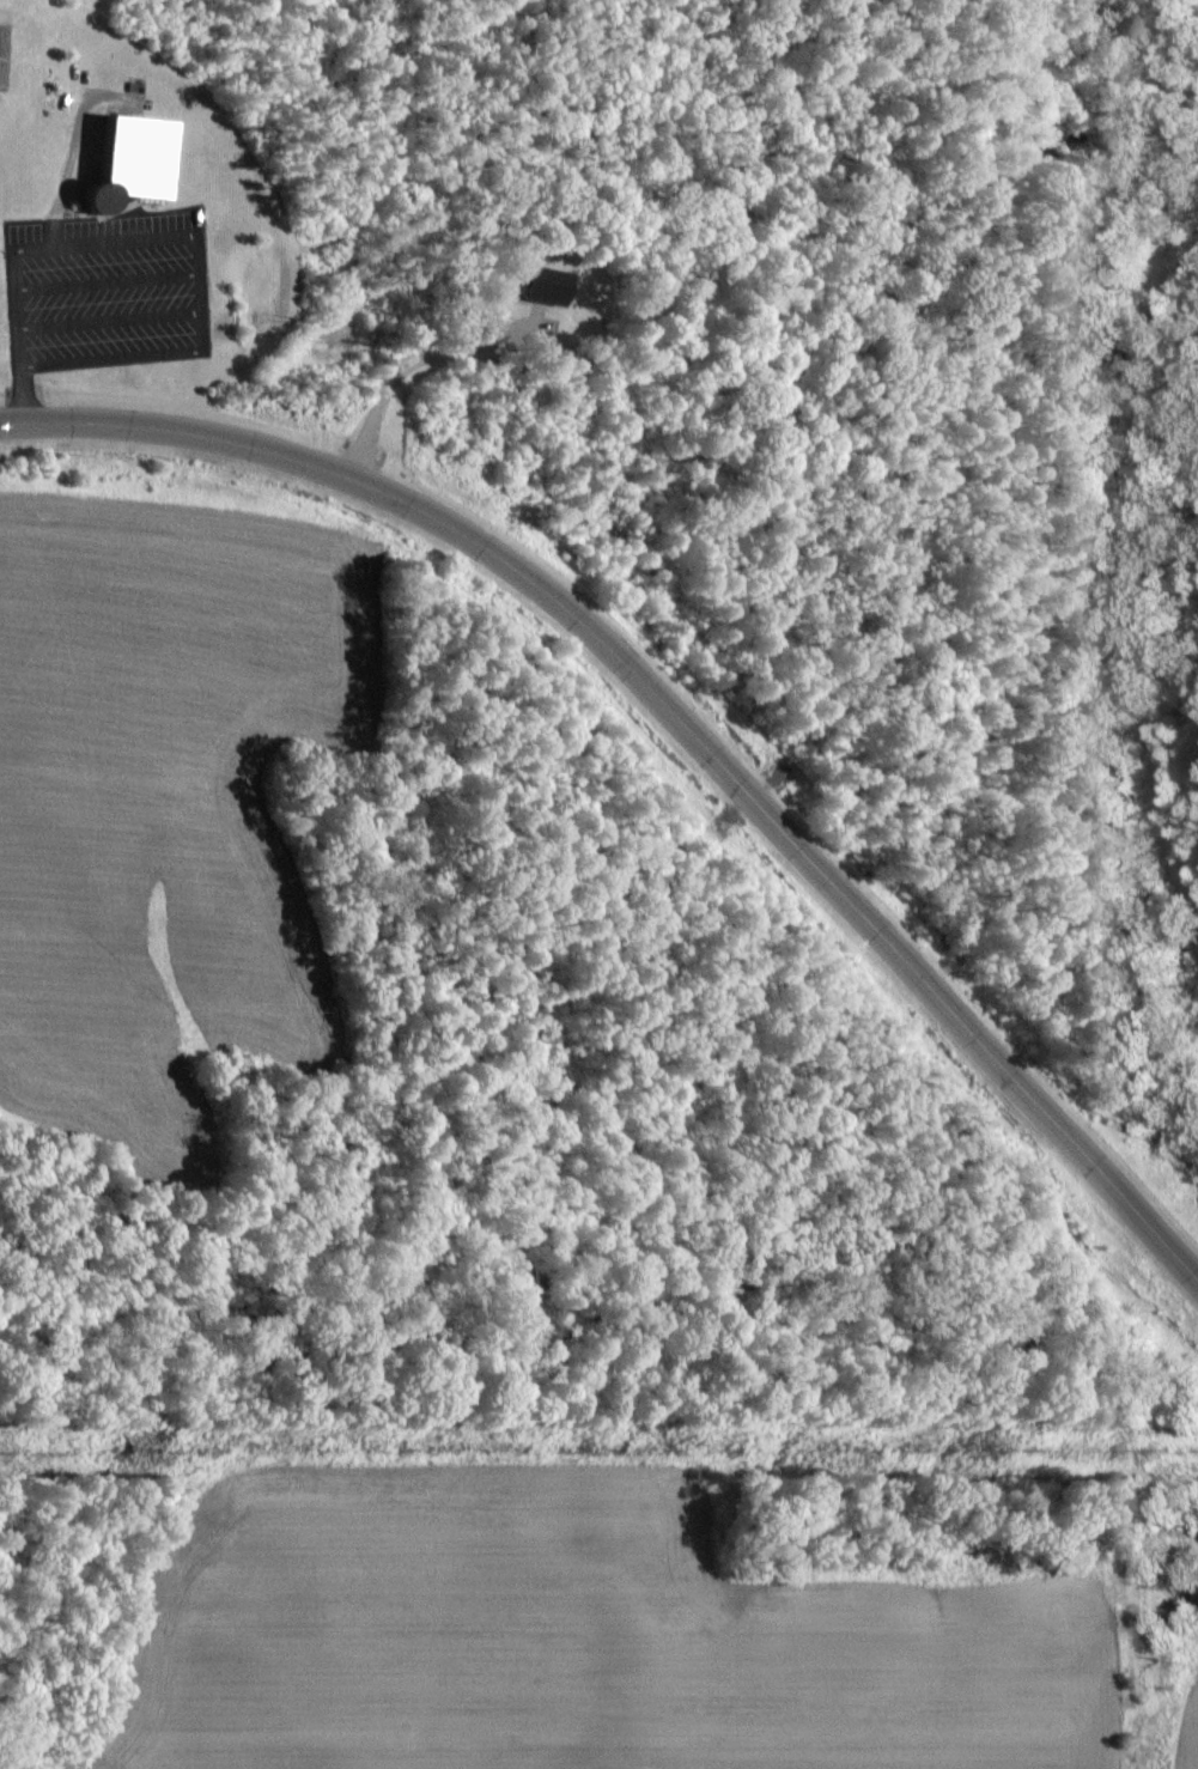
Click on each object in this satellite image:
building: (127, 160)
building: (542, 286)
road: (200, 294)
road: (17, 335)
road: (406, 366)
road: (675, 713)

